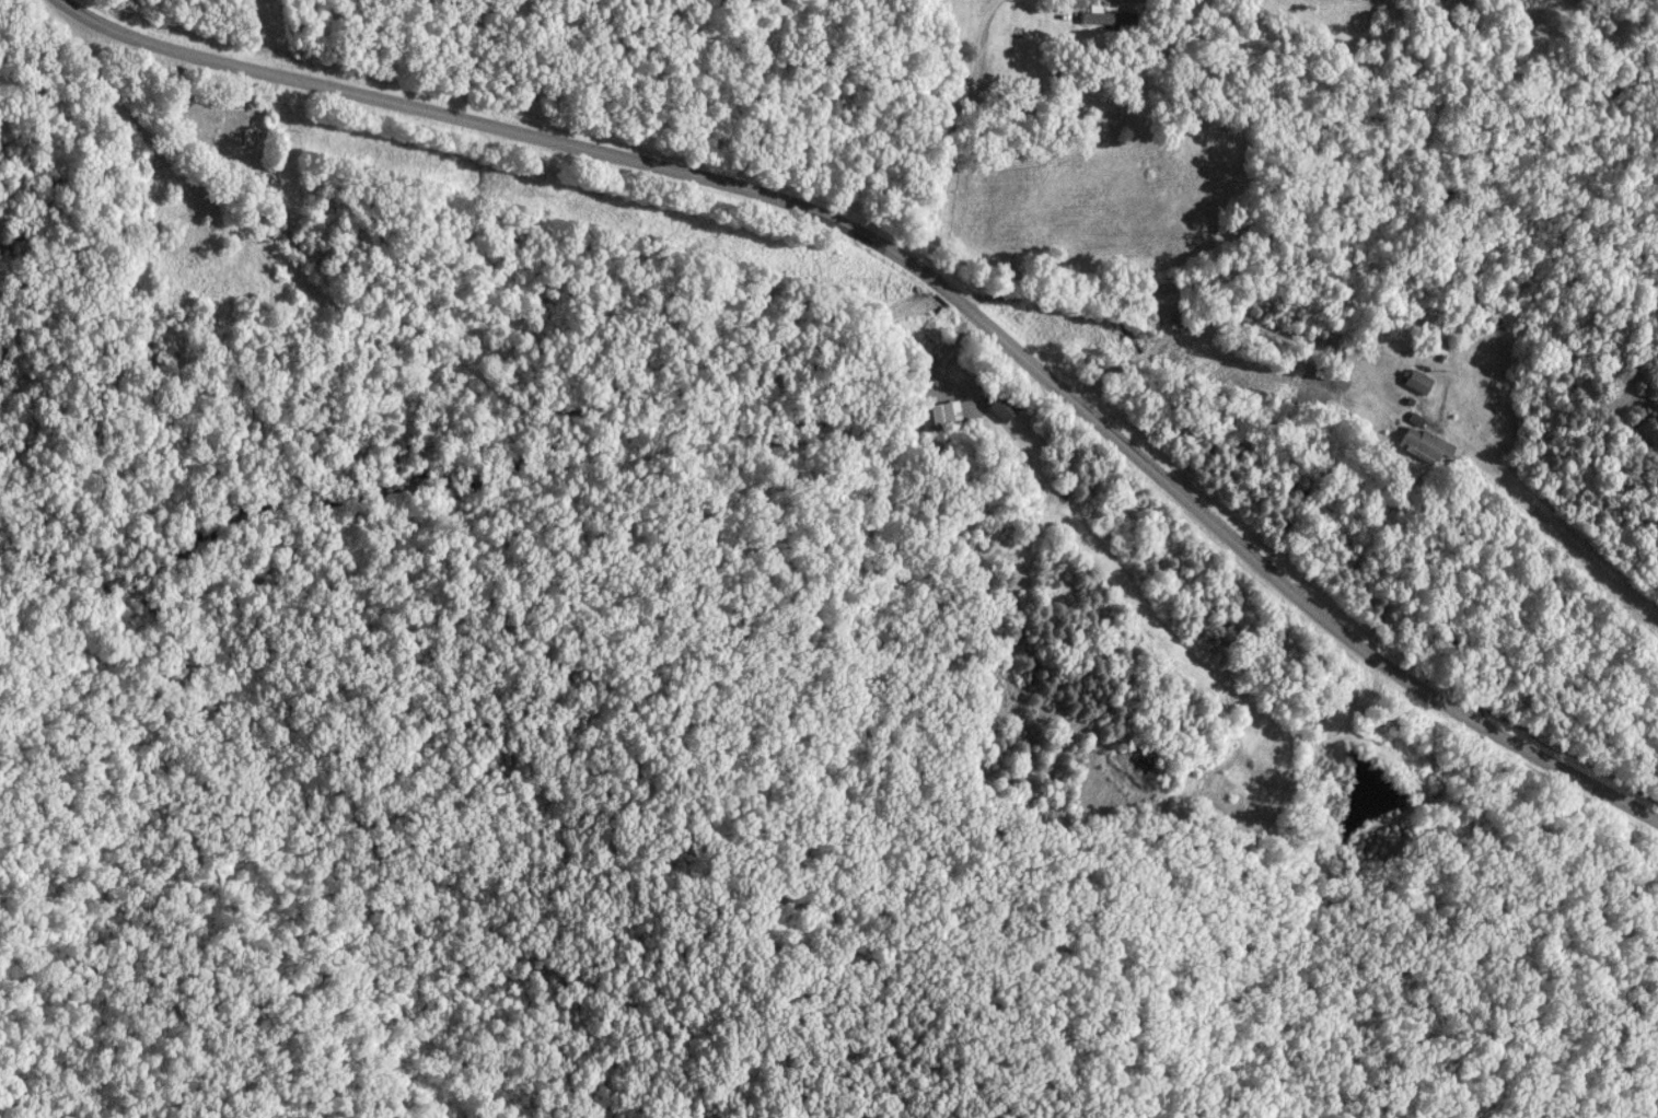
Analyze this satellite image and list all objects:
road: (136, 119)
road: (954, 135)
building: (193, 217)
road: (928, 275)
road: (1232, 326)
building: (1421, 384)
building: (1005, 410)
building: (941, 417)
building: (1429, 449)

